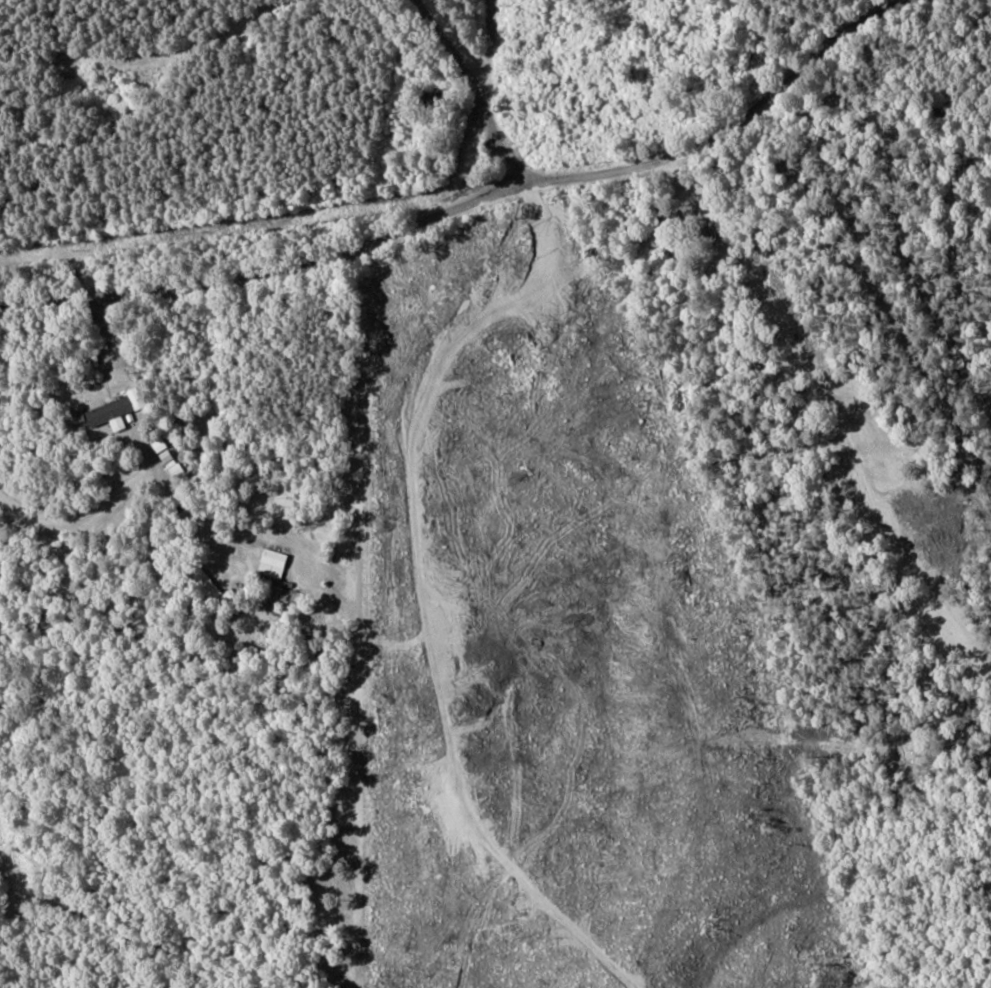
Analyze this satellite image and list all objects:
road: (475, 86)
road: (475, 204)
building: (117, 411)
building: (167, 457)
building: (272, 563)

